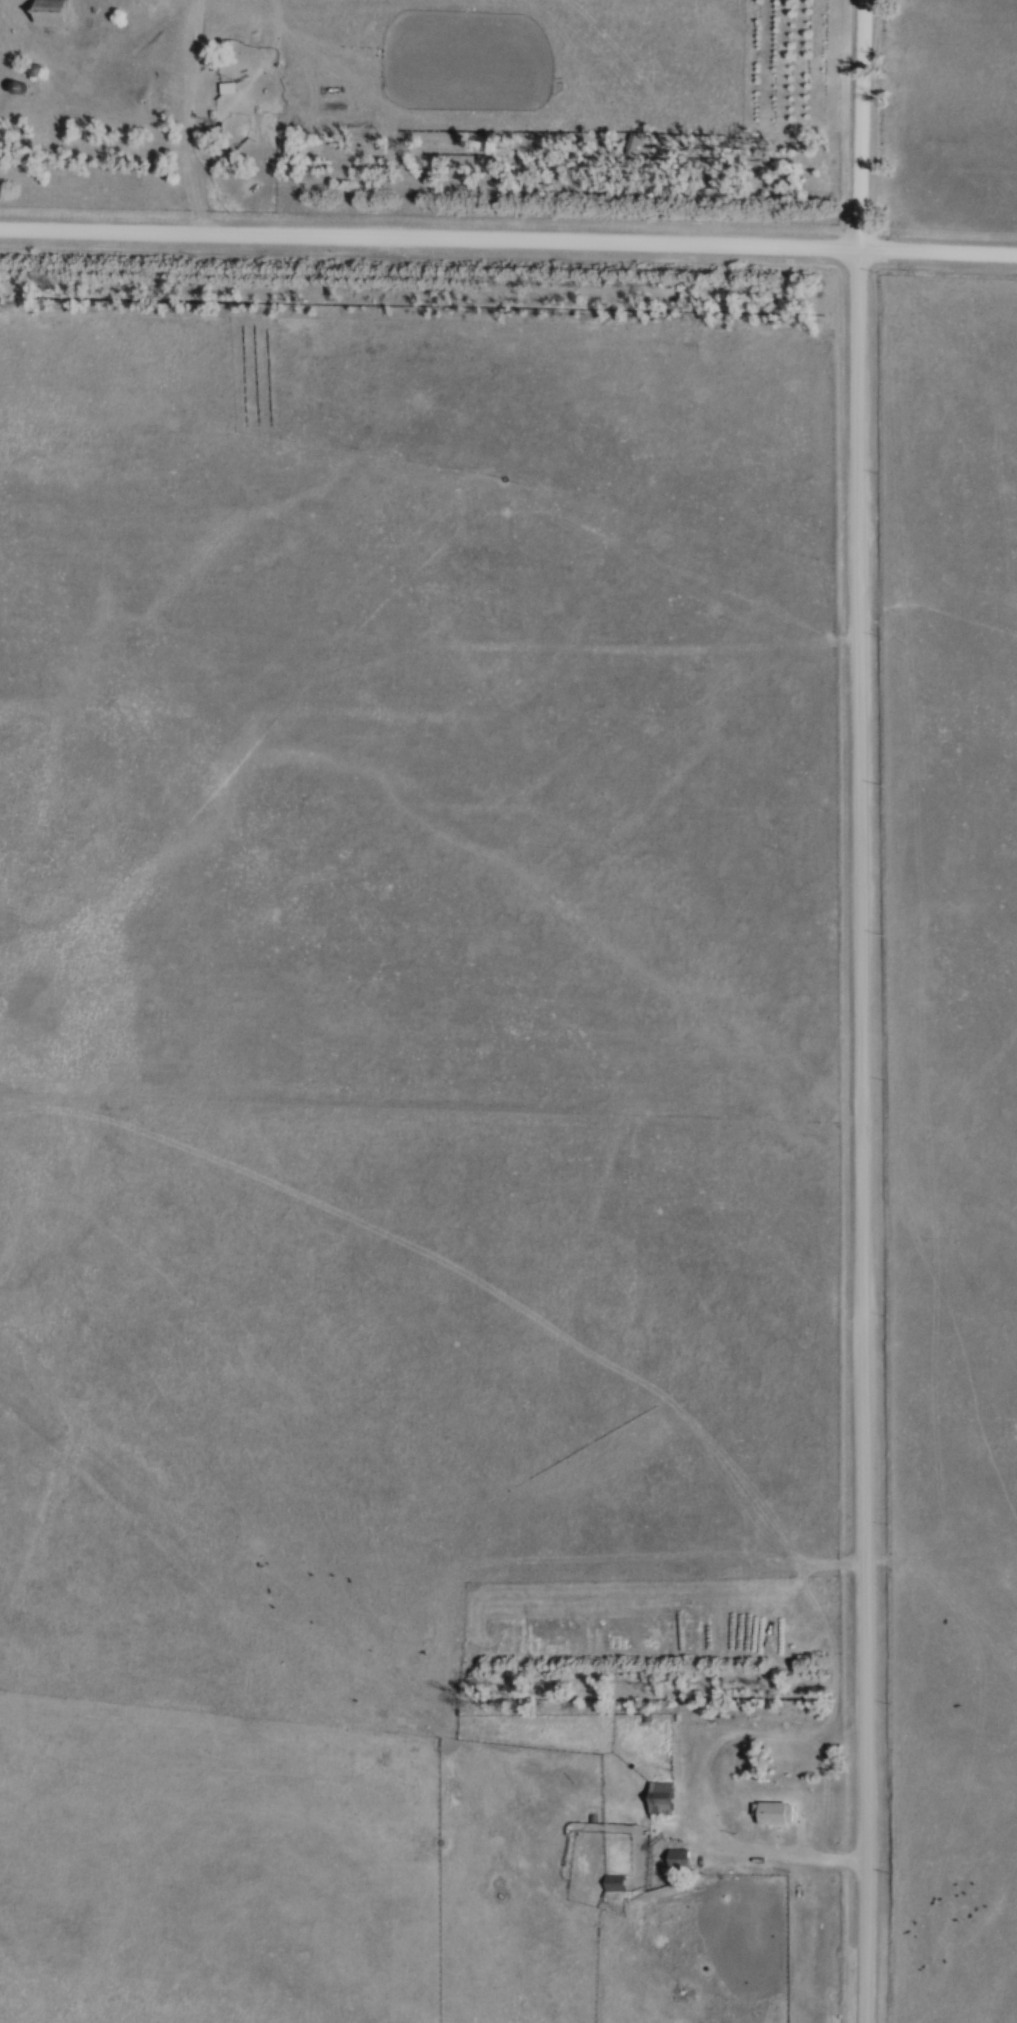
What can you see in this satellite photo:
building: (57, 12)
building: (213, 58)
building: (231, 89)
building: (22, 91)
building: (165, 100)
road: (193, 159)
road: (508, 239)
road: (863, 1011)
building: (658, 1799)
building: (770, 1814)
building: (675, 1860)

